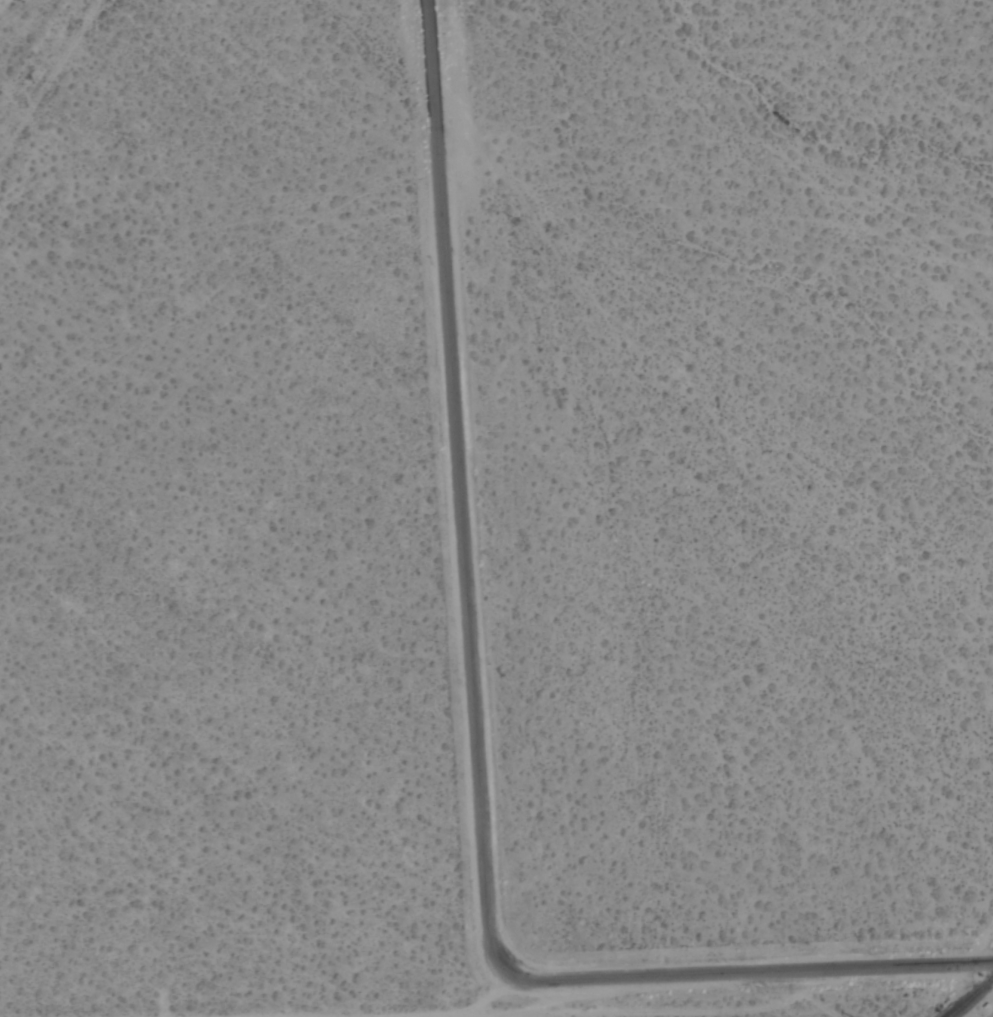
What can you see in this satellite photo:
road: (459, 485)
road: (744, 974)
road: (488, 991)
road: (564, 998)
railway: (972, 998)
road: (685, 1013)

